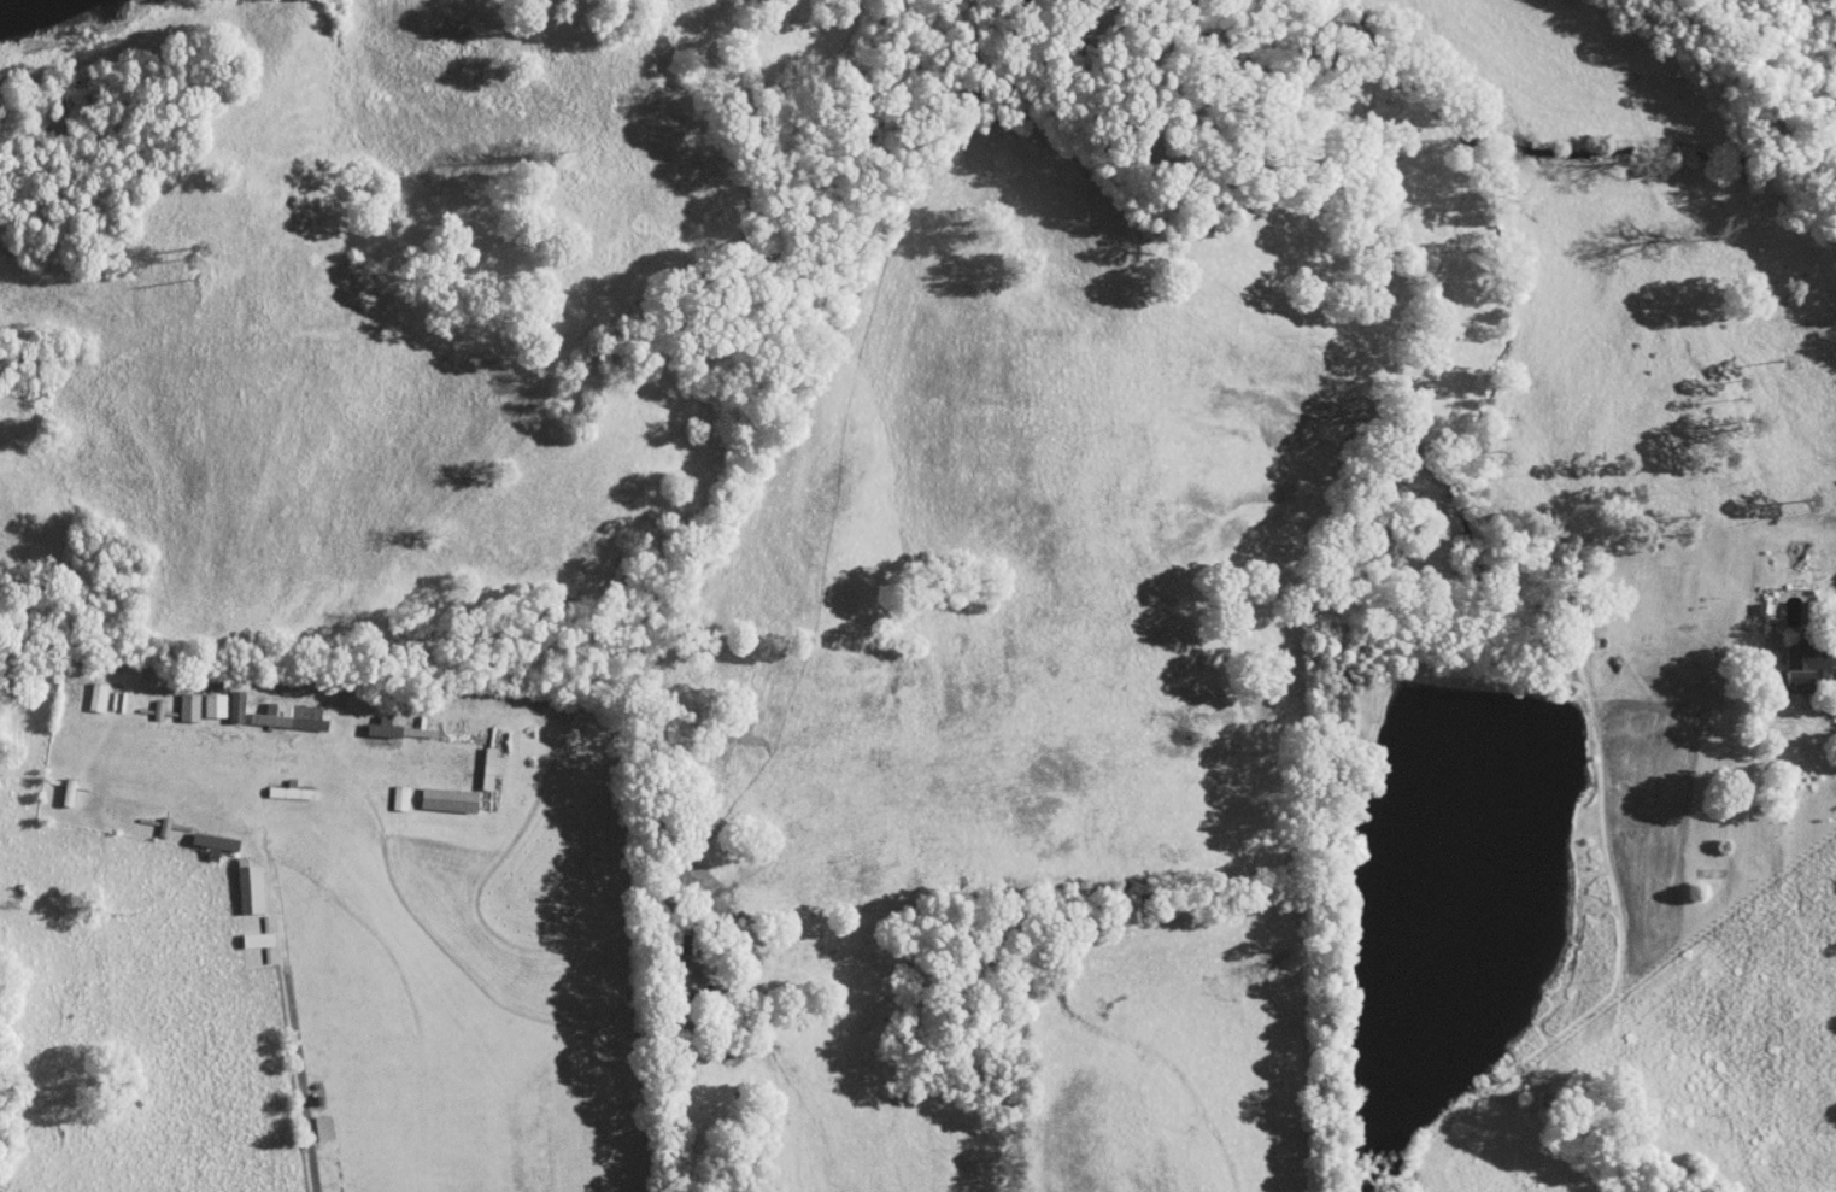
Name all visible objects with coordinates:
building: (1803, 658)
building: (203, 697)
building: (176, 698)
building: (224, 698)
building: (278, 707)
building: (373, 718)
building: (480, 758)
building: (388, 788)
building: (438, 791)
building: (239, 879)
airport: (399, 902)
building: (247, 932)
road: (295, 1022)
building: (312, 1118)
airport runway: (526, 1135)

